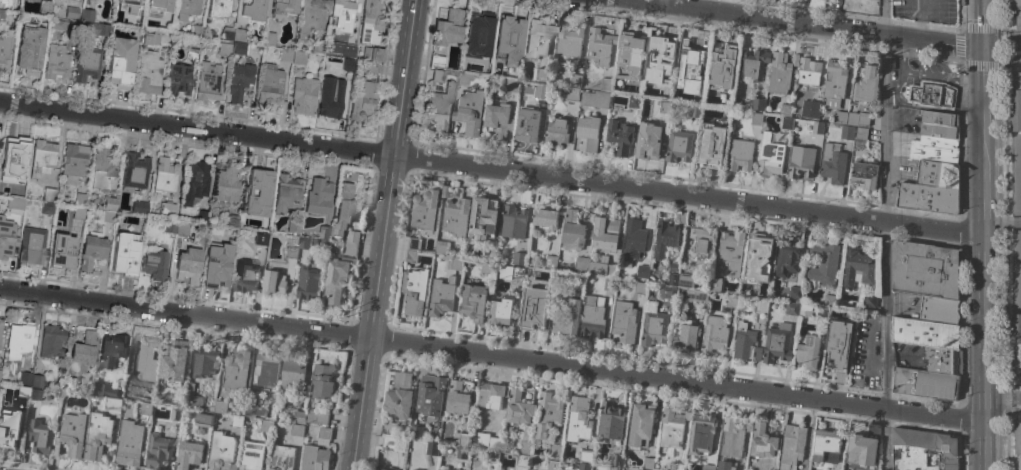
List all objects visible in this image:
building: (854, 0)
building: (870, 0)
building: (11, 4)
building: (131, 6)
building: (158, 6)
building: (189, 6)
building: (45, 7)
building: (219, 8)
building: (255, 9)
building: (283, 9)
building: (1016, 11)
building: (72, 12)
building: (87, 14)
building: (342, 15)
building: (312, 16)
road: (920, 21)
building: (372, 23)
road: (795, 25)
building: (62, 26)
building: (448, 27)
building: (94, 28)
building: (196, 28)
building: (234, 34)
building: (478, 35)
building: (156, 37)
building: (270, 38)
building: (538, 38)
building: (509, 39)
building: (569, 41)
building: (194, 44)
building: (600, 45)
building: (319, 46)
road: (998, 47)
building: (30, 48)
building: (232, 48)
building: (341, 48)
traffic signals: (981, 48)
road: (1018, 48)
building: (5, 49)
building: (660, 52)
building: (372, 53)
building: (286, 55)
road: (900, 56)
building: (299, 57)
building: (630, 57)
building: (437, 61)
building: (56, 62)
building: (121, 62)
building: (87, 63)
building: (347, 64)
building: (753, 64)
building: (374, 67)
building: (722, 68)
building: (690, 69)
building: (781, 72)
building: (148, 73)
building: (808, 73)
building: (540, 74)
building: (438, 75)
road: (406, 78)
building: (464, 78)
building: (178, 79)
building: (239, 80)
building: (575, 80)
building: (208, 81)
road: (891, 83)
building: (834, 84)
building: (511, 85)
building: (270, 86)
building: (866, 86)
road: (895, 87)
building: (541, 89)
building: (667, 91)
building: (304, 94)
building: (572, 94)
building: (598, 95)
building: (932, 95)
building: (331, 96)
building: (362, 98)
building: (634, 101)
building: (756, 104)
building: (440, 107)
building: (665, 107)
building: (810, 109)
building: (786, 110)
building: (696, 111)
building: (470, 112)
building: (839, 116)
building: (498, 118)
building: (858, 118)
building: (939, 118)
building: (757, 119)
building: (526, 120)
building: (787, 123)
building: (817, 127)
building: (938, 130)
building: (557, 132)
building: (847, 132)
building: (588, 133)
building: (620, 136)
building: (860, 137)
building: (1015, 141)
building: (0, 142)
building: (648, 142)
building: (679, 146)
building: (711, 146)
building: (934, 149)
building: (740, 155)
building: (770, 156)
building: (43, 157)
building: (14, 159)
building: (74, 160)
building: (801, 162)
building: (832, 163)
building: (103, 169)
road: (490, 169)
building: (134, 171)
building: (938, 173)
building: (165, 175)
building: (865, 175)
building: (195, 181)
building: (227, 183)
building: (445, 191)
building: (258, 192)
building: (287, 193)
building: (49, 194)
building: (319, 196)
building: (928, 198)
building: (80, 199)
building: (59, 200)
building: (15, 202)
building: (110, 203)
building: (47, 207)
building: (139, 207)
building: (343, 209)
building: (424, 210)
building: (171, 211)
building: (78, 212)
building: (108, 216)
building: (202, 216)
building: (456, 216)
building: (546, 218)
building: (483, 219)
building: (233, 220)
building: (513, 222)
building: (170, 225)
building: (293, 225)
building: (182, 228)
building: (574, 229)
building: (7, 232)
building: (213, 232)
building: (325, 232)
building: (606, 234)
road: (885, 235)
road: (981, 235)
building: (352, 237)
building: (261, 238)
building: (664, 238)
building: (702, 240)
building: (324, 241)
building: (633, 241)
building: (304, 242)
building: (32, 244)
building: (413, 244)
building: (92, 246)
building: (441, 247)
building: (62, 248)
building: (350, 248)
building: (731, 251)
building: (290, 252)
building: (126, 253)
building: (410, 256)
building: (437, 257)
building: (519, 258)
building: (787, 258)
building: (758, 260)
building: (550, 261)
building: (823, 262)
building: (580, 263)
building: (188, 264)
building: (454, 264)
building: (155, 265)
building: (217, 265)
building: (602, 267)
building: (674, 267)
building: (855, 267)
building: (486, 268)
building: (924, 270)
building: (511, 272)
building: (642, 272)
building: (245, 275)
building: (338, 277)
building: (673, 278)
building: (686, 281)
building: (273, 282)
building: (308, 284)
building: (609, 284)
building: (715, 284)
building: (639, 288)
building: (414, 291)
building: (667, 292)
building: (794, 292)
building: (696, 295)
building: (441, 296)
building: (870, 300)
building: (830, 301)
building: (473, 302)
building: (1016, 302)
building: (729, 303)
building: (761, 305)
building: (500, 308)
building: (534, 308)
building: (791, 308)
building: (939, 310)
building: (805, 311)
road: (375, 313)
building: (591, 318)
building: (567, 320)
building: (624, 322)
building: (0, 326)
building: (654, 328)
building: (926, 333)
building: (714, 335)
building: (685, 337)
building: (19, 338)
building: (51, 340)
building: (745, 343)
building: (777, 343)
building: (837, 344)
building: (84, 348)
building: (112, 348)
building: (808, 351)
building: (144, 353)
road: (491, 355)
building: (939, 359)
building: (204, 361)
building: (173, 362)
building: (266, 369)
building: (0, 371)
building: (293, 372)
building: (236, 373)
building: (25, 377)
building: (37, 380)
building: (323, 381)
building: (924, 382)
building: (66, 387)
building: (23, 390)
building: (106, 390)
building: (127, 393)
building: (35, 394)
building: (57, 394)
building: (431, 394)
building: (400, 395)
building: (491, 395)
building: (192, 397)
building: (457, 398)
road: (1002, 399)
building: (113, 405)
building: (219, 407)
building: (146, 408)
building: (519, 408)
building: (254, 410)
building: (176, 413)
building: (548, 413)
building: (318, 415)
building: (300, 416)
building: (204, 418)
building: (579, 418)
building: (237, 421)
building: (610, 421)
building: (9, 424)
building: (266, 425)
building: (641, 426)
building: (388, 428)
building: (672, 428)
building: (297, 430)
building: (416, 432)
building: (703, 433)
building: (71, 435)
building: (40, 436)
building: (98, 436)
building: (324, 436)
building: (733, 436)
road: (1004, 439)
building: (488, 441)
building: (763, 441)
building: (388, 442)
building: (130, 443)
building: (1017, 443)
building: (462, 444)
building: (525, 445)
building: (826, 445)
building: (792, 446)
building: (431, 448)
building: (863, 449)
building: (159, 450)
building: (555, 450)
building: (924, 450)
building: (222, 452)
building: (190, 455)
building: (583, 455)
building: (252, 456)
building: (283, 456)
building: (493, 457)
building: (315, 458)
building: (523, 460)
building: (616, 460)
building: (647, 463)
building: (553, 464)
building: (677, 465)
building: (724, 465)
building: (584, 466)
building: (707, 467)
building: (612, 468)
building: (381, 469)
building: (390, 469)
building: (393, 469)
building: (415, 469)
building: (436, 469)
building: (440, 469)

